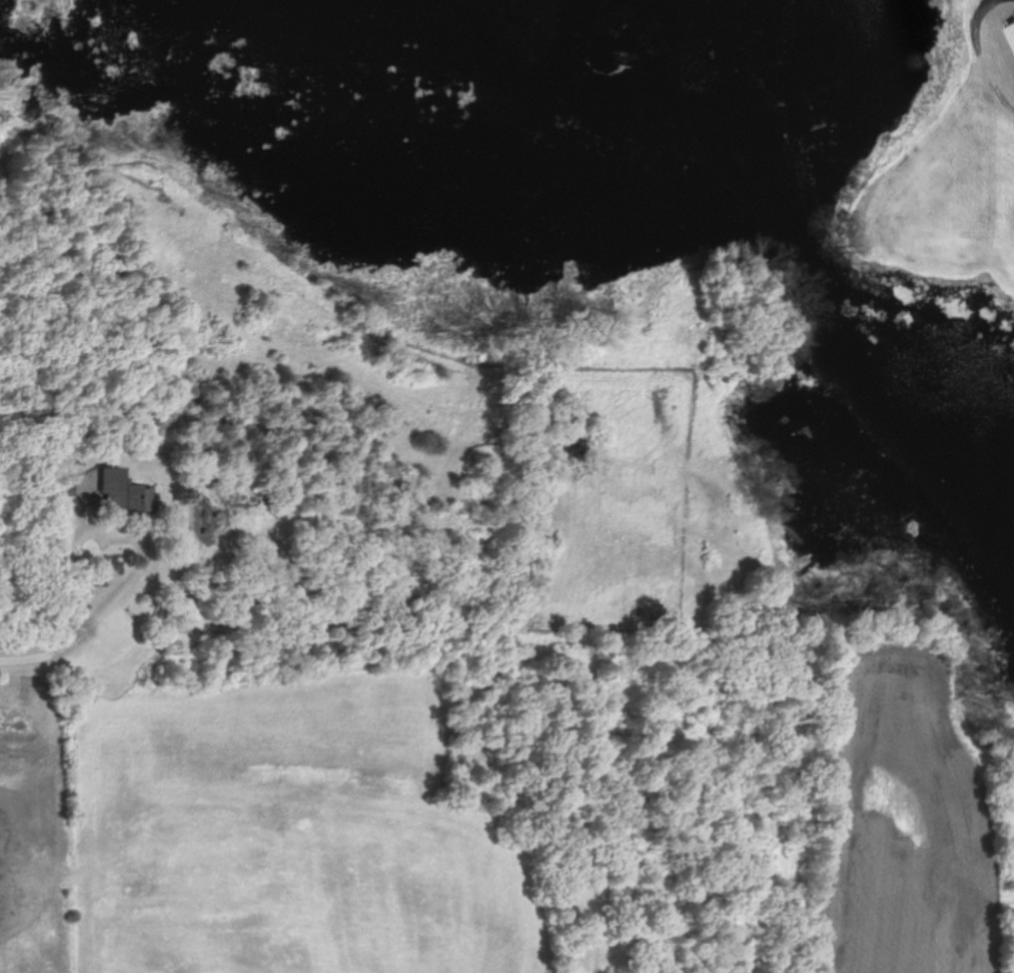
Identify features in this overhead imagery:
building: (1013, 29)
building: (120, 494)
road: (77, 549)
road: (41, 653)

